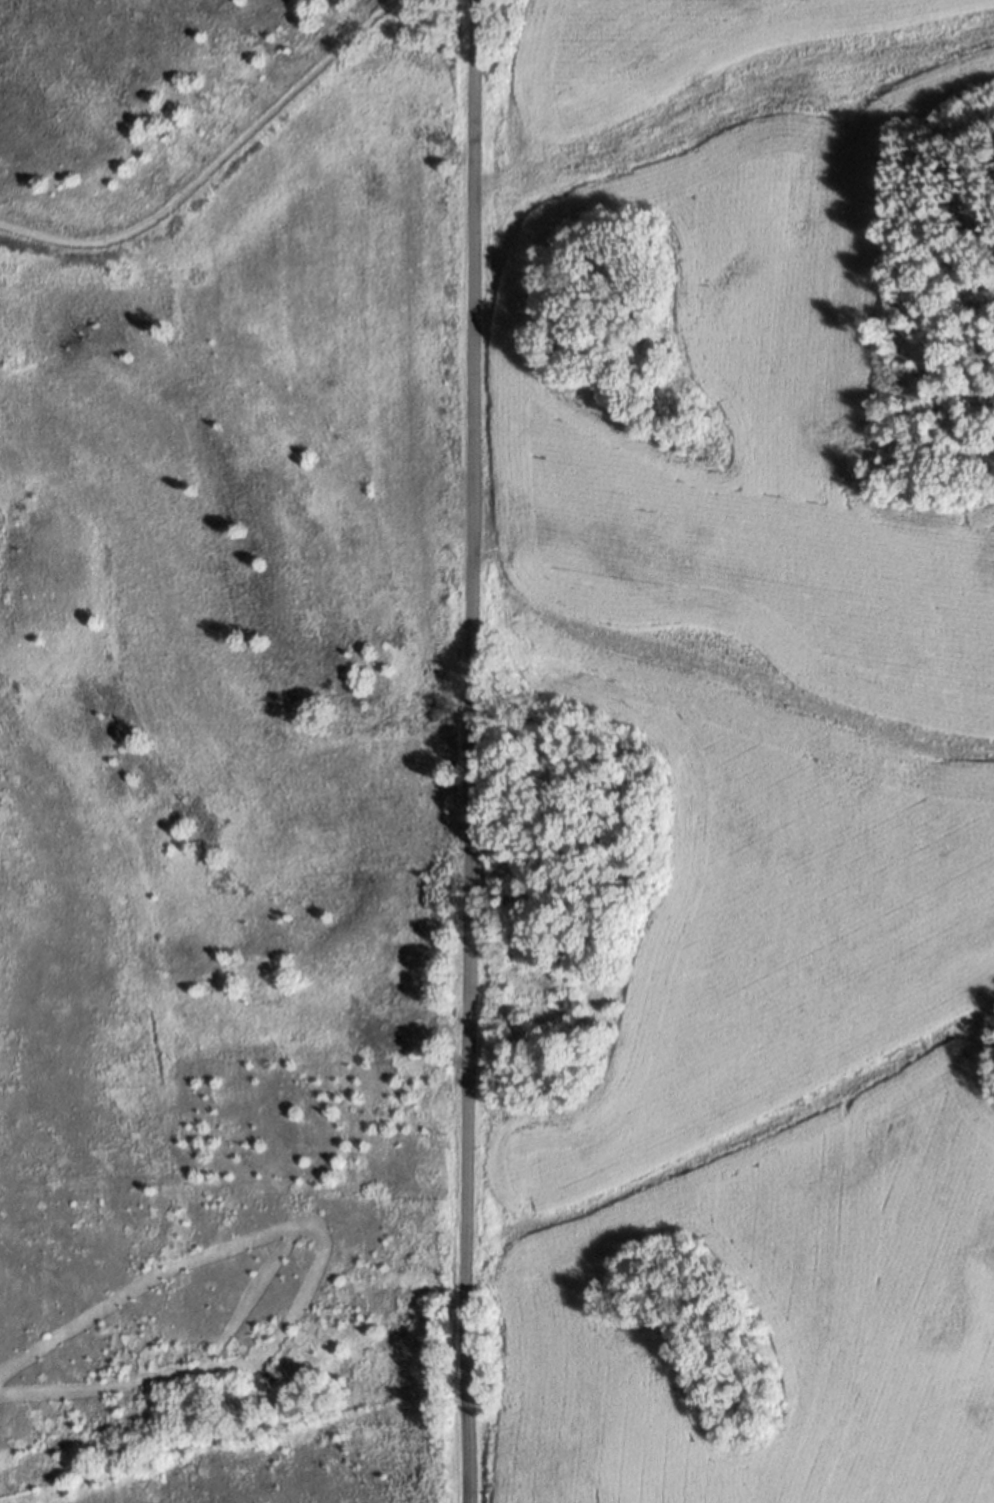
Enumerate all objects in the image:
road: (220, 166)
road: (470, 751)

